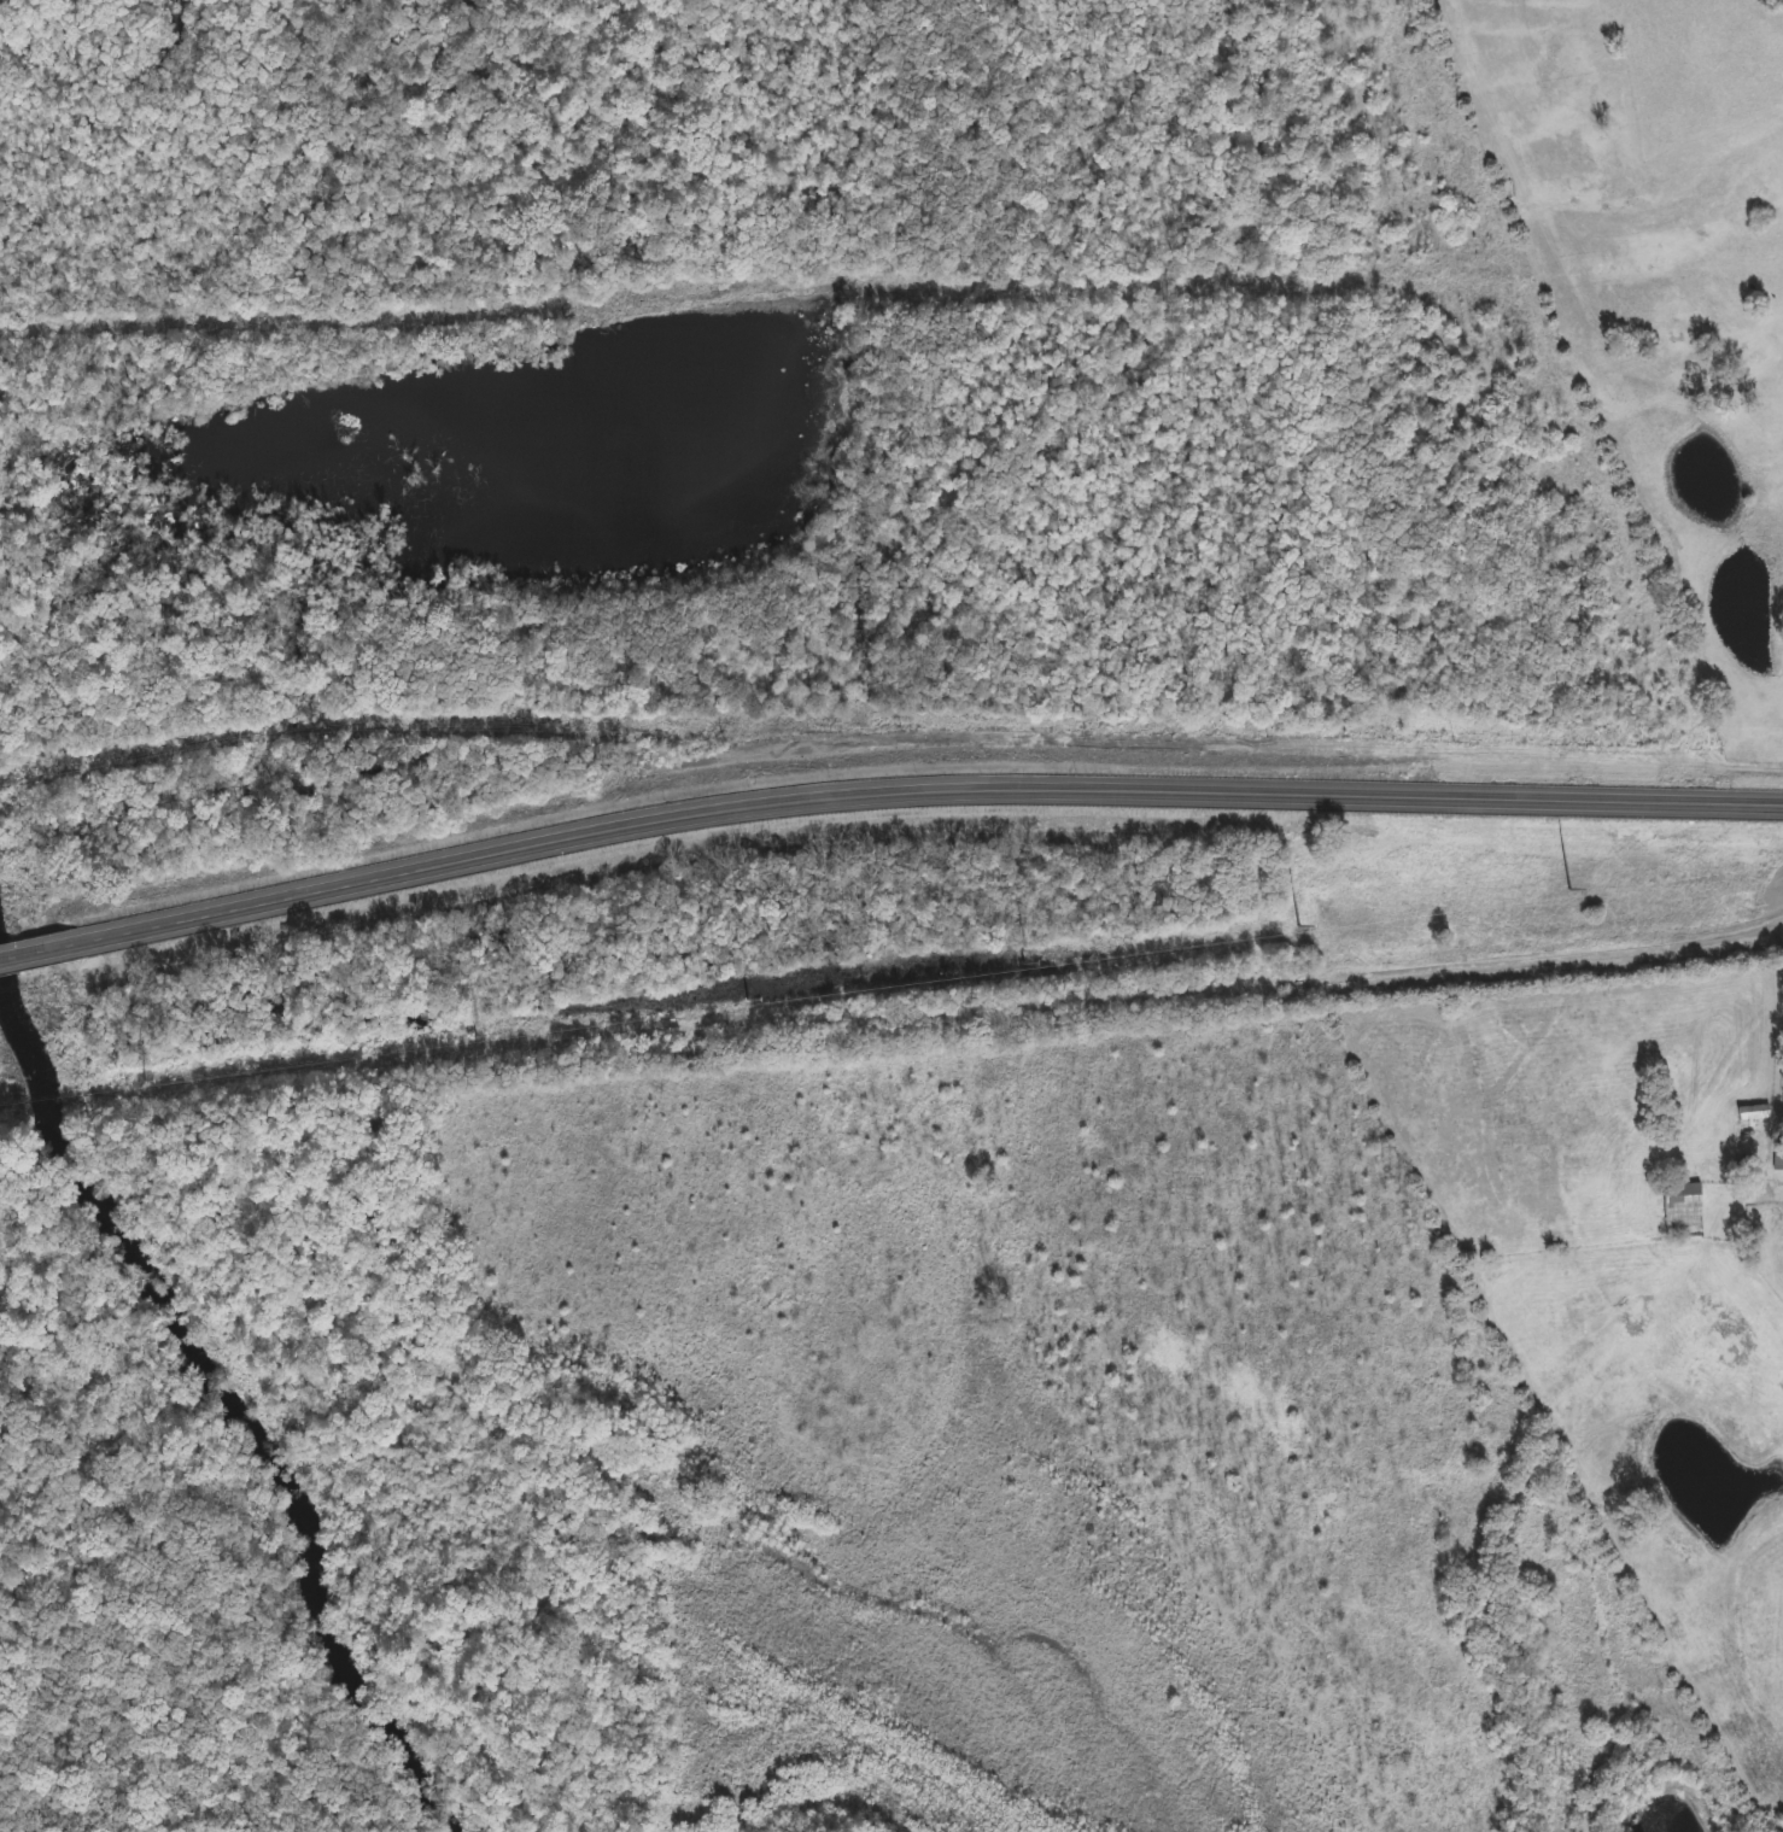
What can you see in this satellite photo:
road: (883, 796)
road: (1544, 956)
road: (1778, 1012)
building: (1753, 1108)
building: (1778, 1152)
building: (1684, 1193)

